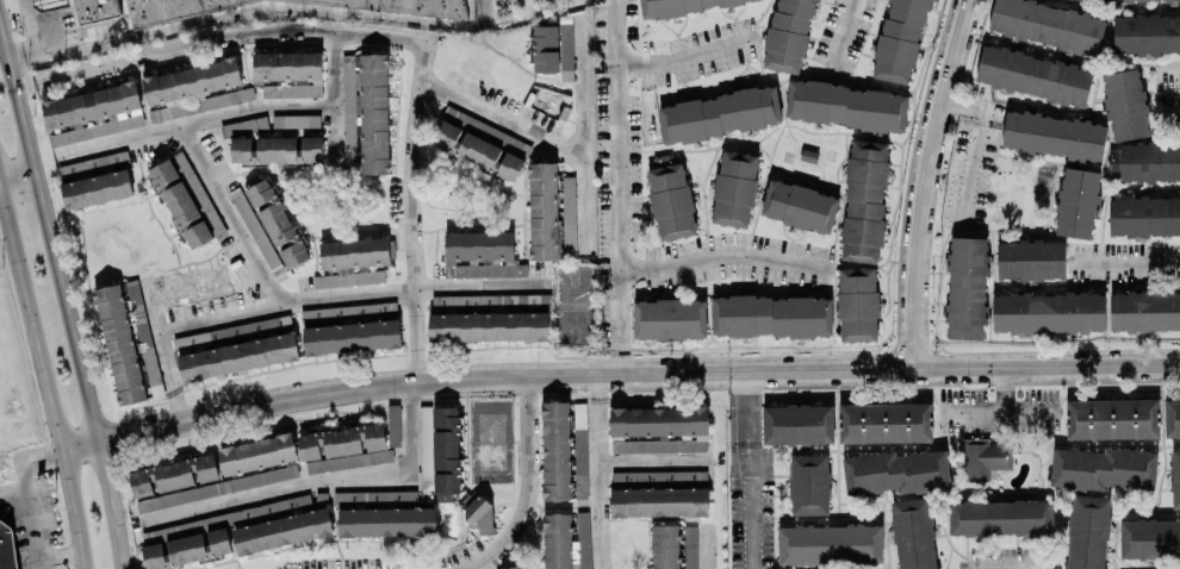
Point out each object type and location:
building: (1080, 0)
building: (1137, 0)
building: (682, 6)
road: (254, 7)
building: (83, 8)
road: (30, 24)
building: (1047, 25)
road: (384, 32)
road: (844, 32)
building: (788, 35)
building: (1145, 35)
building: (899, 40)
building: (544, 48)
building: (565, 55)
road: (688, 56)
building: (286, 65)
road: (1170, 68)
building: (1032, 75)
building: (191, 81)
building: (292, 89)
road: (335, 95)
building: (204, 102)
building: (1125, 105)
building: (845, 106)
building: (92, 113)
building: (718, 114)
road: (1169, 114)
road: (503, 119)
building: (294, 121)
road: (181, 125)
road: (584, 131)
building: (1051, 136)
building: (479, 144)
road: (974, 145)
building: (275, 150)
building: (1149, 162)
road: (15, 168)
road: (920, 181)
road: (619, 186)
building: (733, 188)
building: (95, 189)
building: (179, 200)
building: (670, 201)
building: (864, 201)
building: (1076, 204)
building: (799, 206)
building: (549, 213)
road: (231, 214)
building: (1144, 215)
building: (277, 223)
road: (49, 238)
road: (726, 254)
building: (479, 255)
building: (1030, 260)
building: (352, 262)
road: (1128, 264)
building: (965, 288)
road: (348, 294)
building: (857, 305)
building: (344, 311)
building: (1144, 311)
building: (1048, 312)
building: (771, 315)
building: (667, 319)
building: (486, 326)
building: (350, 337)
building: (119, 344)
road: (166, 355)
road: (634, 371)
building: (153, 376)
road: (45, 382)
road: (747, 400)
road: (995, 414)
road: (1029, 414)
building: (1172, 418)
building: (1111, 419)
building: (884, 423)
building: (392, 425)
building: (797, 425)
building: (658, 430)
building: (579, 431)
road: (745, 445)
road: (750, 445)
road: (79, 448)
building: (343, 448)
building: (555, 450)
building: (439, 451)
building: (256, 454)
building: (985, 458)
road: (653, 461)
building: (1101, 468)
road: (598, 471)
building: (894, 471)
building: (172, 474)
building: (1174, 477)
road: (318, 480)
road: (527, 482)
building: (808, 484)
building: (221, 487)
road: (13, 494)
road: (26, 494)
building: (403, 495)
building: (654, 495)
road: (110, 505)
building: (479, 512)
road: (749, 514)
building: (999, 517)
building: (385, 521)
building: (1086, 532)
building: (913, 533)
building: (231, 534)
building: (1149, 538)
building: (564, 539)
building: (828, 544)
road: (704, 545)
building: (672, 546)
building: (7, 550)
road: (57, 555)
road: (996, 567)
building: (513, 568)

